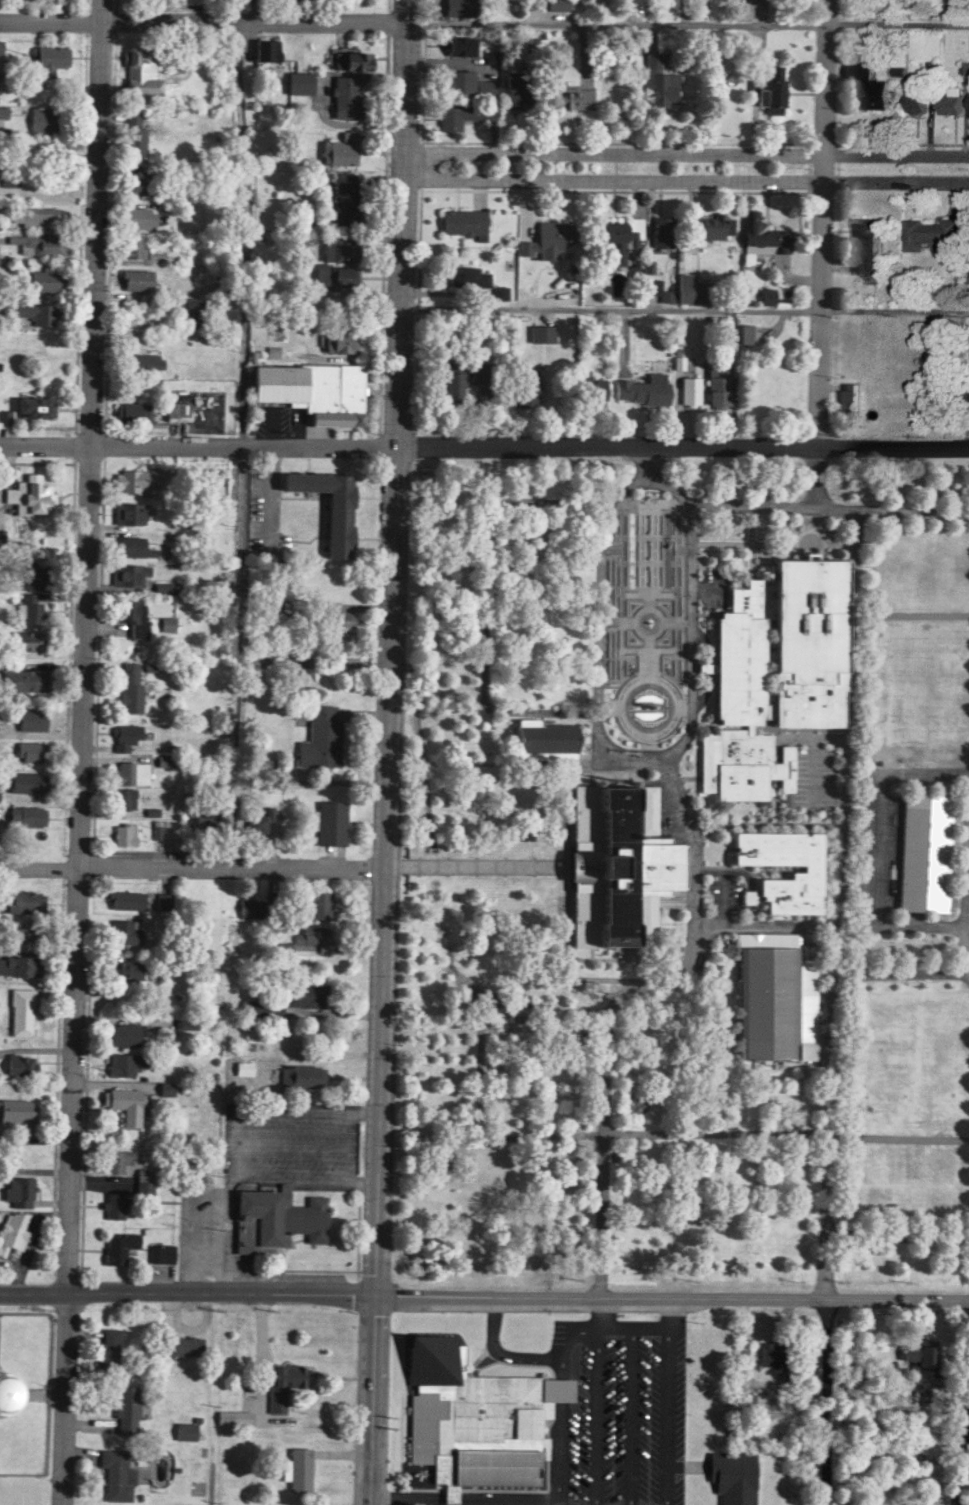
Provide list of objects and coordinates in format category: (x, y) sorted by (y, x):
building: (49, 0)
building: (949, 1)
building: (701, 2)
building: (509, 3)
building: (556, 4)
building: (458, 7)
road: (253, 22)
road: (50, 23)
road: (686, 23)
building: (1, 45)
building: (458, 45)
building: (264, 48)
building: (48, 57)
building: (347, 58)
building: (139, 70)
building: (297, 80)
building: (462, 82)
building: (657, 82)
building: (868, 84)
building: (767, 85)
building: (514, 89)
building: (343, 95)
building: (914, 95)
building: (568, 96)
building: (950, 99)
building: (968, 102)
building: (464, 112)
building: (132, 113)
building: (45, 118)
building: (134, 139)
building: (338, 148)
road: (686, 153)
building: (8, 176)
building: (138, 180)
road: (686, 183)
building: (344, 197)
road: (246, 214)
building: (39, 215)
building: (139, 216)
building: (462, 220)
road: (821, 223)
building: (709, 226)
building: (659, 230)
building: (930, 230)
building: (761, 234)
building: (549, 237)
building: (40, 241)
building: (865, 244)
building: (131, 245)
building: (338, 248)
building: (331, 274)
building: (466, 274)
building: (43, 278)
building: (135, 278)
building: (688, 287)
building: (658, 288)
building: (499, 290)
building: (765, 294)
building: (186, 303)
building: (31, 309)
building: (540, 332)
building: (747, 332)
building: (339, 339)
building: (143, 359)
building: (677, 360)
building: (466, 374)
building: (716, 384)
building: (942, 385)
building: (524, 386)
building: (641, 387)
building: (689, 389)
building: (314, 390)
building: (588, 390)
building: (847, 394)
building: (32, 404)
building: (175, 408)
building: (131, 410)
building: (5, 415)
road: (44, 446)
road: (528, 447)
road: (647, 464)
building: (156, 473)
road: (816, 476)
building: (129, 478)
road: (644, 481)
building: (28, 493)
road: (540, 504)
road: (829, 505)
road: (690, 506)
building: (327, 509)
road: (647, 509)
building: (127, 511)
road: (810, 533)
road: (647, 534)
road: (750, 540)
road: (762, 543)
building: (131, 545)
road: (611, 550)
road: (634, 551)
road: (638, 551)
road: (644, 551)
road: (651, 551)
road: (655, 551)
road: (660, 551)
road: (647, 559)
road: (541, 566)
building: (127, 572)
building: (34, 574)
building: (161, 585)
road: (707, 586)
road: (621, 587)
road: (672, 589)
road: (646, 594)
road: (647, 601)
building: (290, 603)
building: (31, 604)
road: (483, 611)
building: (129, 614)
building: (328, 614)
building: (166, 621)
road: (649, 622)
road: (676, 622)
road: (615, 624)
road: (633, 625)
road: (597, 629)
road: (390, 630)
road: (692, 634)
building: (26, 638)
building: (806, 644)
road: (647, 649)
road: (648, 656)
building: (737, 656)
building: (150, 663)
road: (703, 667)
building: (19, 675)
road: (628, 682)
building: (129, 686)
road: (684, 701)
road: (624, 705)
road: (607, 711)
road: (543, 712)
building: (30, 717)
flagpole: (672, 723)
flagpole: (623, 724)
flagpole: (662, 731)
building: (124, 734)
flagpole: (635, 734)
building: (319, 736)
flagpole: (647, 737)
building: (546, 743)
road: (647, 745)
building: (28, 748)
road: (79, 752)
road: (637, 755)
building: (164, 758)
building: (738, 762)
road: (503, 767)
building: (129, 770)
road: (907, 771)
building: (26, 780)
road: (918, 784)
building: (123, 796)
building: (27, 814)
building: (205, 818)
building: (259, 818)
building: (156, 829)
building: (123, 832)
road: (877, 848)
road: (916, 853)
building: (922, 853)
building: (628, 860)
road: (488, 865)
building: (581, 866)
road: (38, 868)
road: (229, 868)
road: (708, 871)
building: (807, 872)
road: (747, 888)
building: (125, 897)
road: (722, 898)
building: (21, 900)
building: (315, 900)
road: (562, 900)
building: (250, 905)
road: (967, 914)
road: (913, 918)
road: (831, 926)
building: (125, 930)
building: (21, 931)
building: (311, 933)
building: (20, 964)
road: (653, 970)
building: (121, 971)
road: (902, 973)
building: (304, 992)
road: (619, 1000)
building: (772, 1003)
building: (260, 1006)
road: (837, 1006)
building: (20, 1010)
road: (549, 1013)
building: (182, 1022)
building: (121, 1032)
building: (124, 1062)
building: (19, 1063)
building: (242, 1066)
road: (475, 1072)
building: (301, 1074)
building: (122, 1102)
building: (16, 1109)
road: (229, 1129)
road: (662, 1136)
road: (290, 1147)
building: (116, 1159)
road: (301, 1181)
building: (18, 1189)
building: (143, 1189)
building: (114, 1202)
building: (274, 1220)
building: (12, 1229)
road: (901, 1233)
building: (118, 1244)
road: (198, 1246)
building: (160, 1251)
road: (371, 1278)
road: (33, 1294)
road: (517, 1296)
road: (600, 1311)
road: (647, 1328)
building: (180, 1343)
building: (109, 1348)
road: (499, 1351)
building: (770, 1354)
building: (920, 1358)
road: (369, 1364)
building: (282, 1381)
building: (745, 1398)
water tower: (1, 1401)
road: (556, 1403)
building: (125, 1407)
building: (232, 1415)
road: (594, 1416)
road: (628, 1416)
road: (666, 1416)
building: (475, 1421)
building: (184, 1429)
road: (961, 1451)
building: (295, 1466)
road: (365, 1468)
building: (116, 1472)
building: (732, 1477)
road: (215, 1482)
road: (462, 1500)

